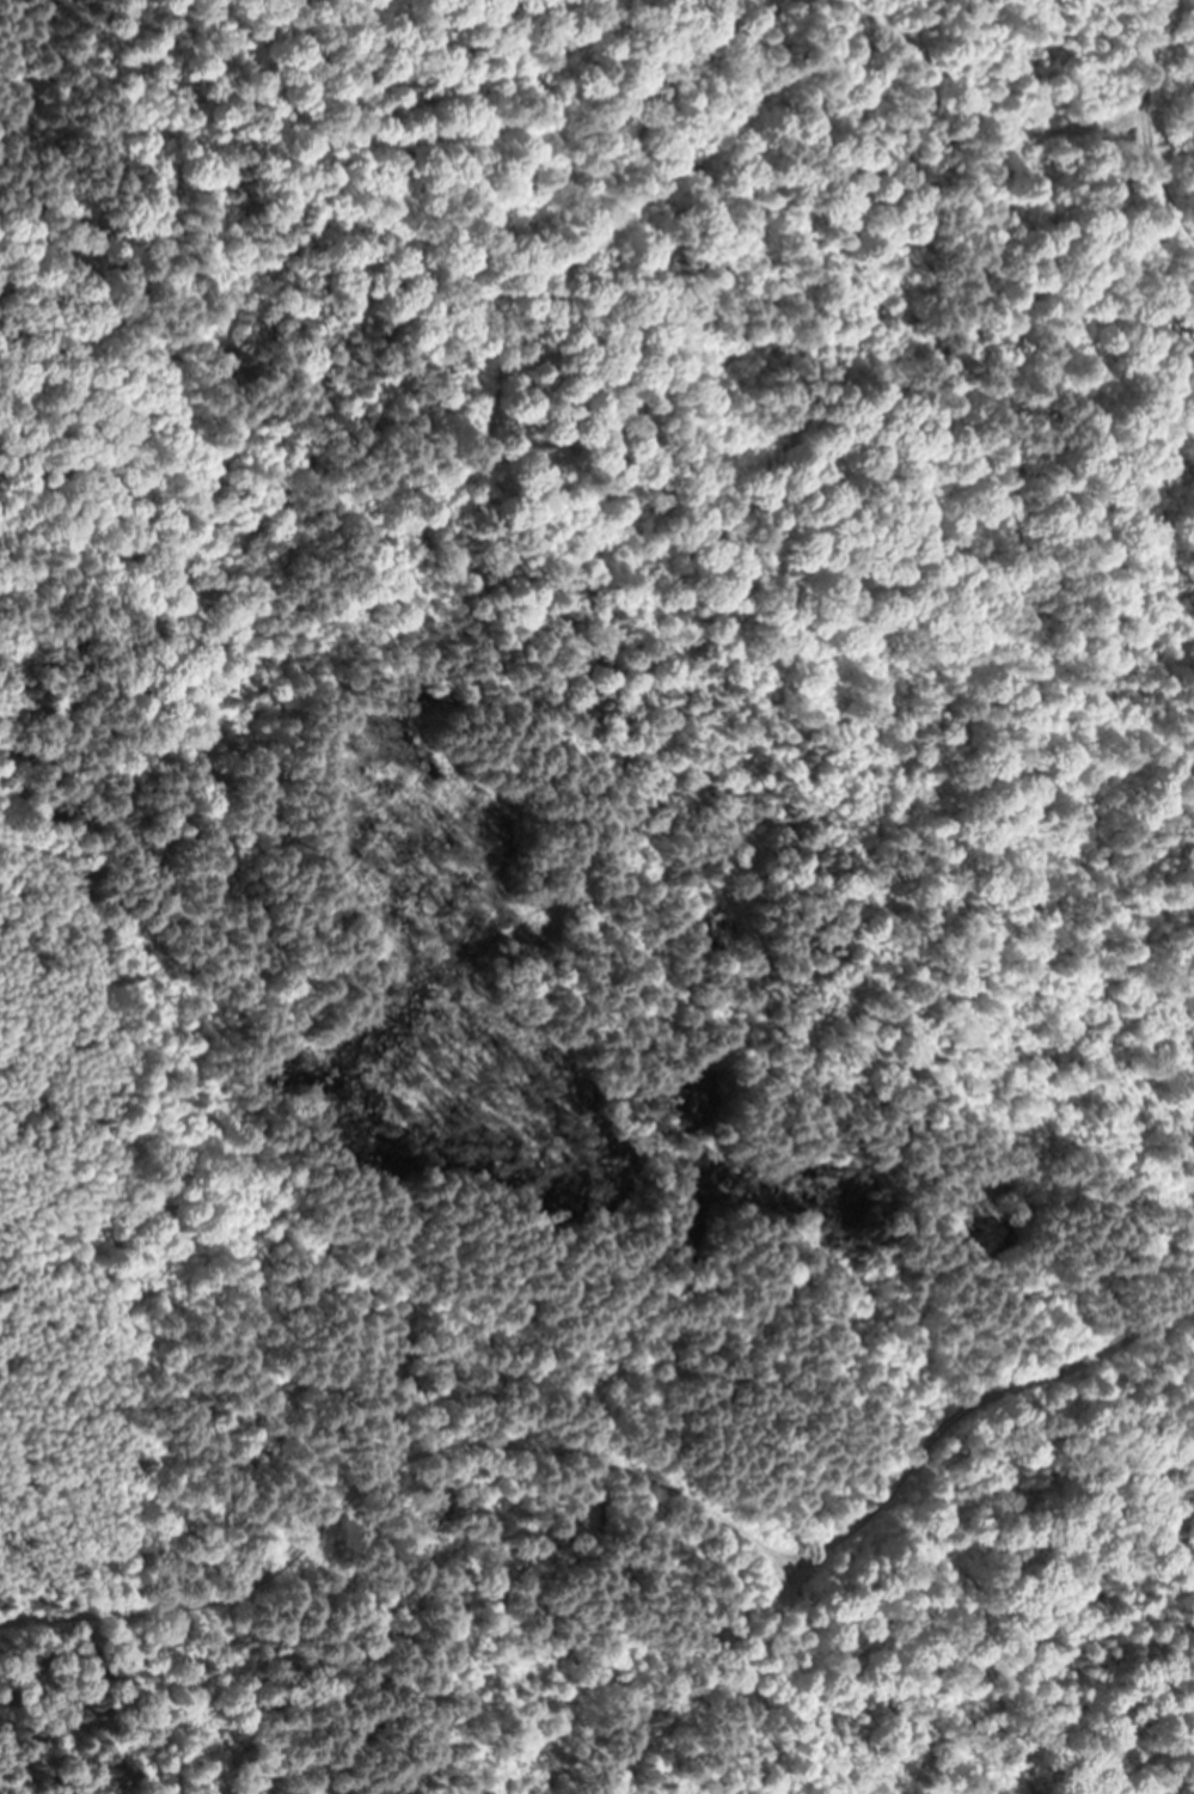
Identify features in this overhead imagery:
road: (1145, 123)
road: (625, 1469)

